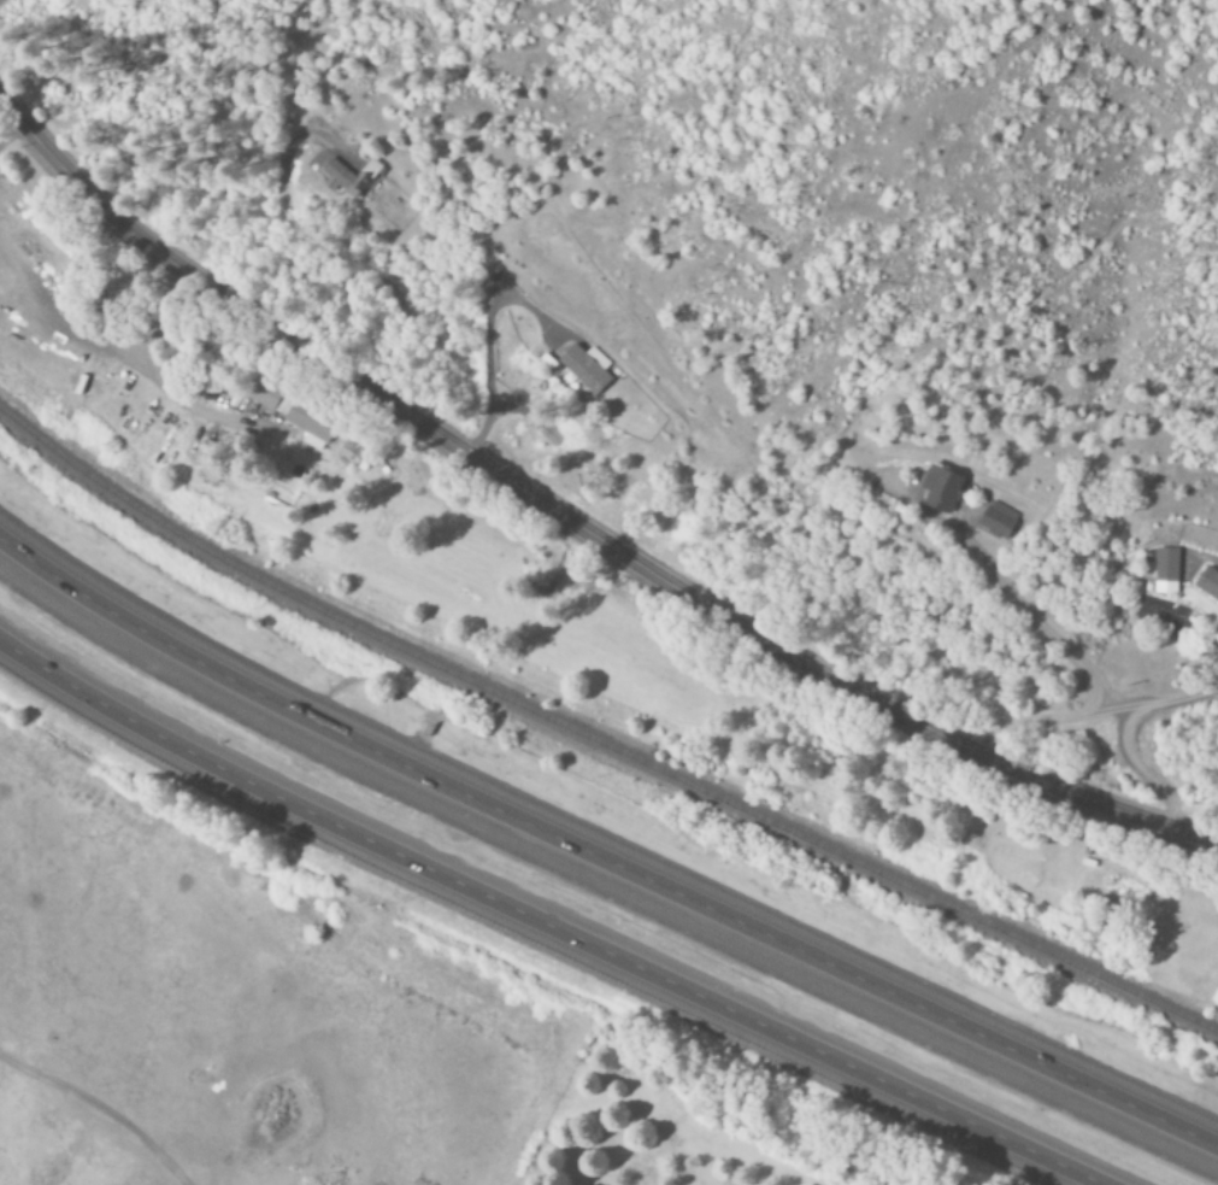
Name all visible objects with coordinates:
road: (482, 341)
building: (586, 368)
building: (265, 394)
building: (308, 427)
building: (940, 489)
building: (998, 520)
road: (575, 524)
building: (1166, 571)
building: (1207, 583)
railway: (601, 756)
road: (600, 858)
road: (543, 923)

